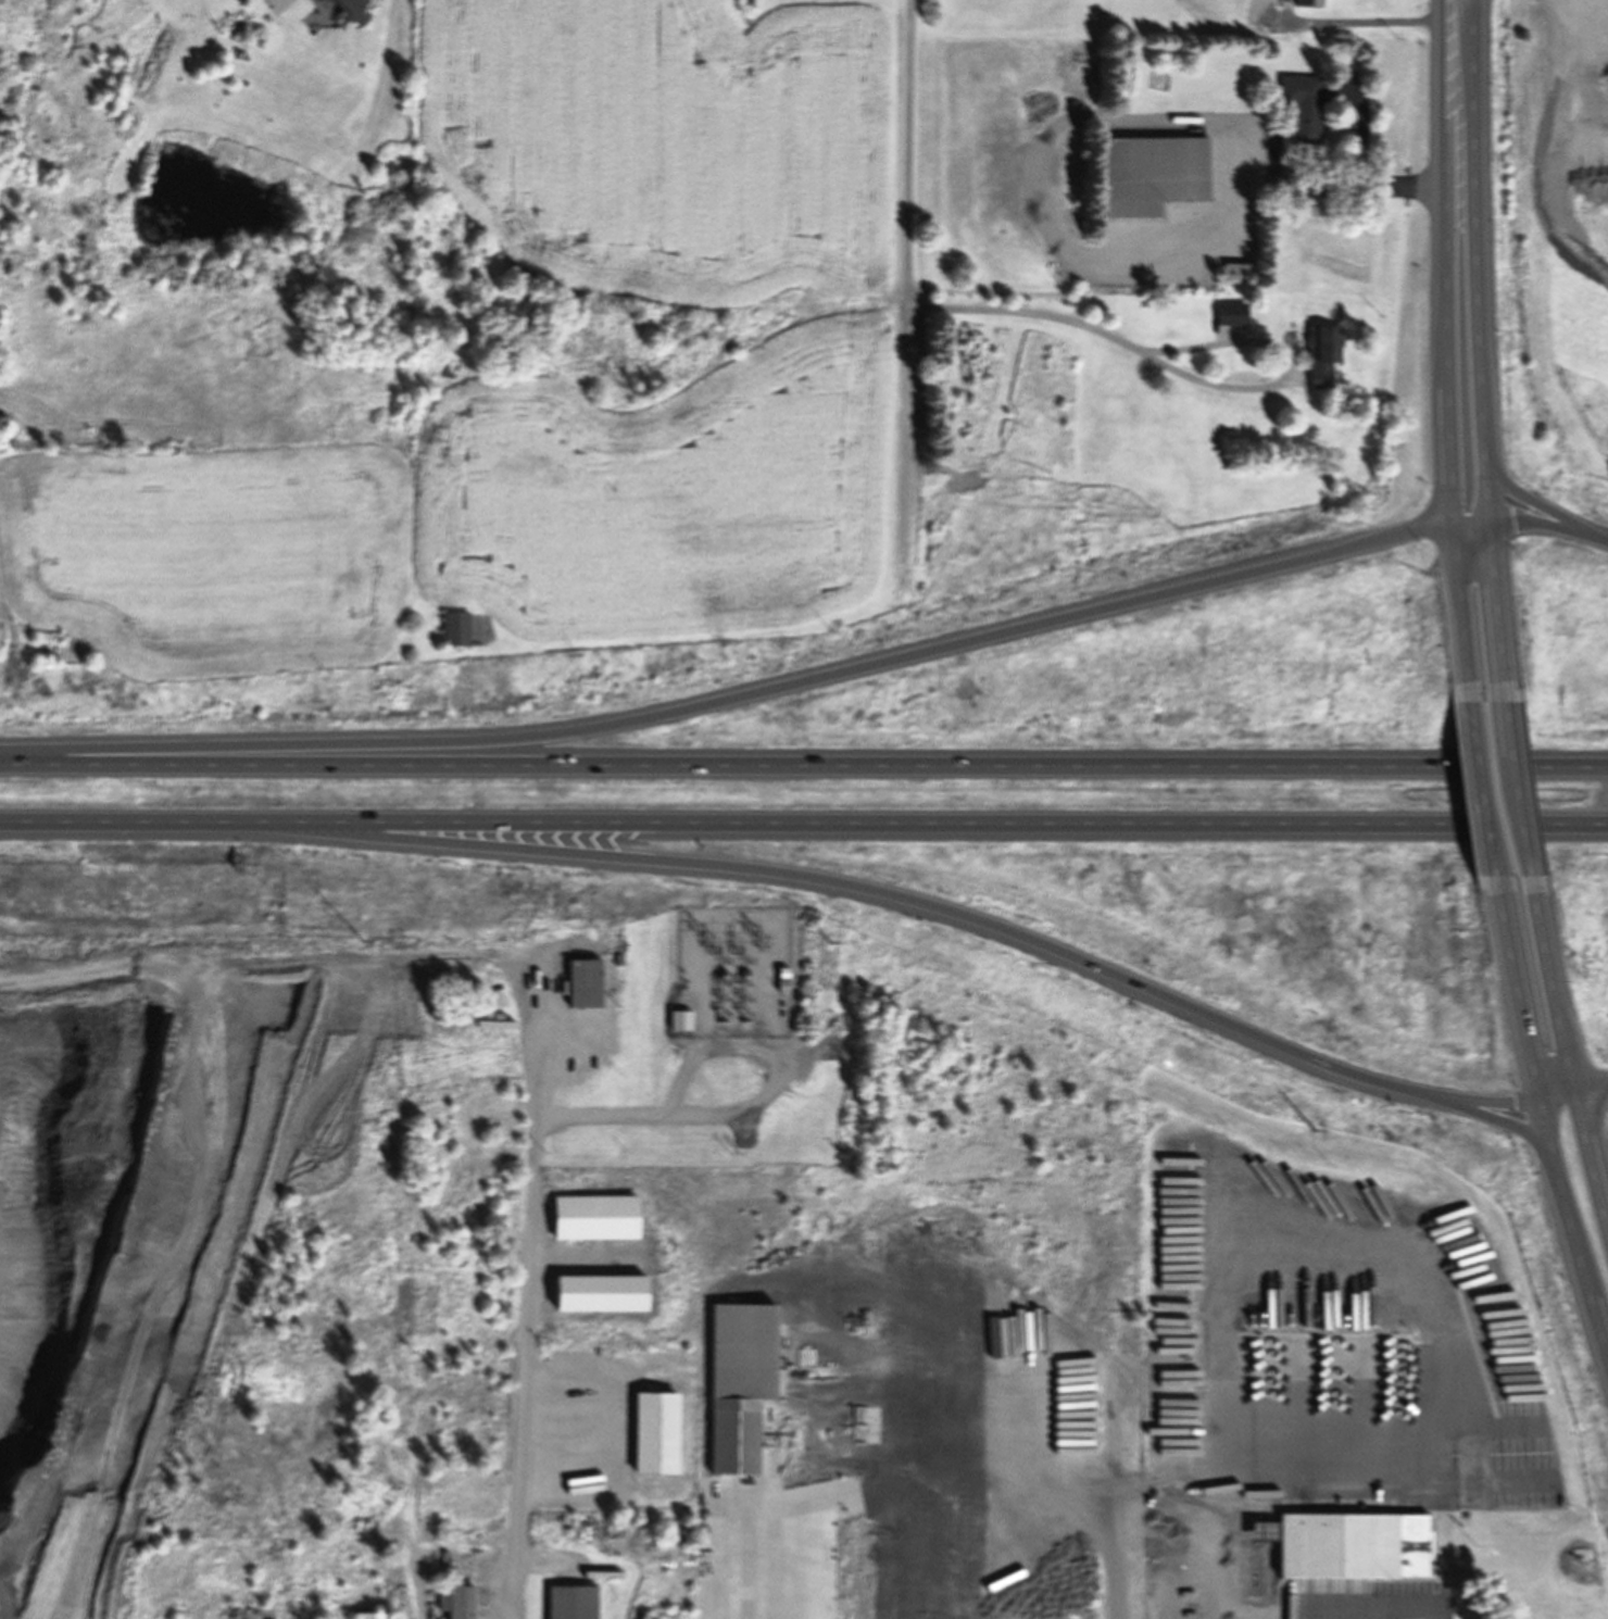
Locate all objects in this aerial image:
building: (1305, 2)
building: (1298, 108)
building: (1148, 174)
road: (1471, 228)
road: (1443, 260)
building: (1232, 271)
road: (906, 278)
road: (1296, 355)
building: (1320, 355)
quarry: (180, 411)
road: (1482, 489)
road: (1534, 504)
road: (1466, 520)
road: (1542, 525)
road: (1603, 542)
road: (1491, 607)
road: (1458, 608)
building: (453, 627)
road: (742, 692)
road: (804, 761)
road: (1481, 785)
road: (1515, 788)
road: (804, 824)
road: (880, 891)
power tower: (761, 937)
power tower: (363, 938)
power tower: (702, 939)
power tower: (827, 939)
power substation: (732, 972)
building: (779, 978)
building: (583, 982)
road: (1515, 982)
road: (1546, 984)
road: (1586, 1082)
road: (1550, 1091)
road: (1488, 1097)
road: (1496, 1120)
road: (1543, 1121)
power tower: (1312, 1127)
road: (1586, 1168)
building: (592, 1216)
road: (1575, 1255)
quarry: (233, 1258)
building: (596, 1291)
building: (737, 1382)
building: (652, 1432)
road: (472, 1439)
building: (1352, 1545)
building: (456, 1602)
building: (568, 1602)
building: (367, 1615)

